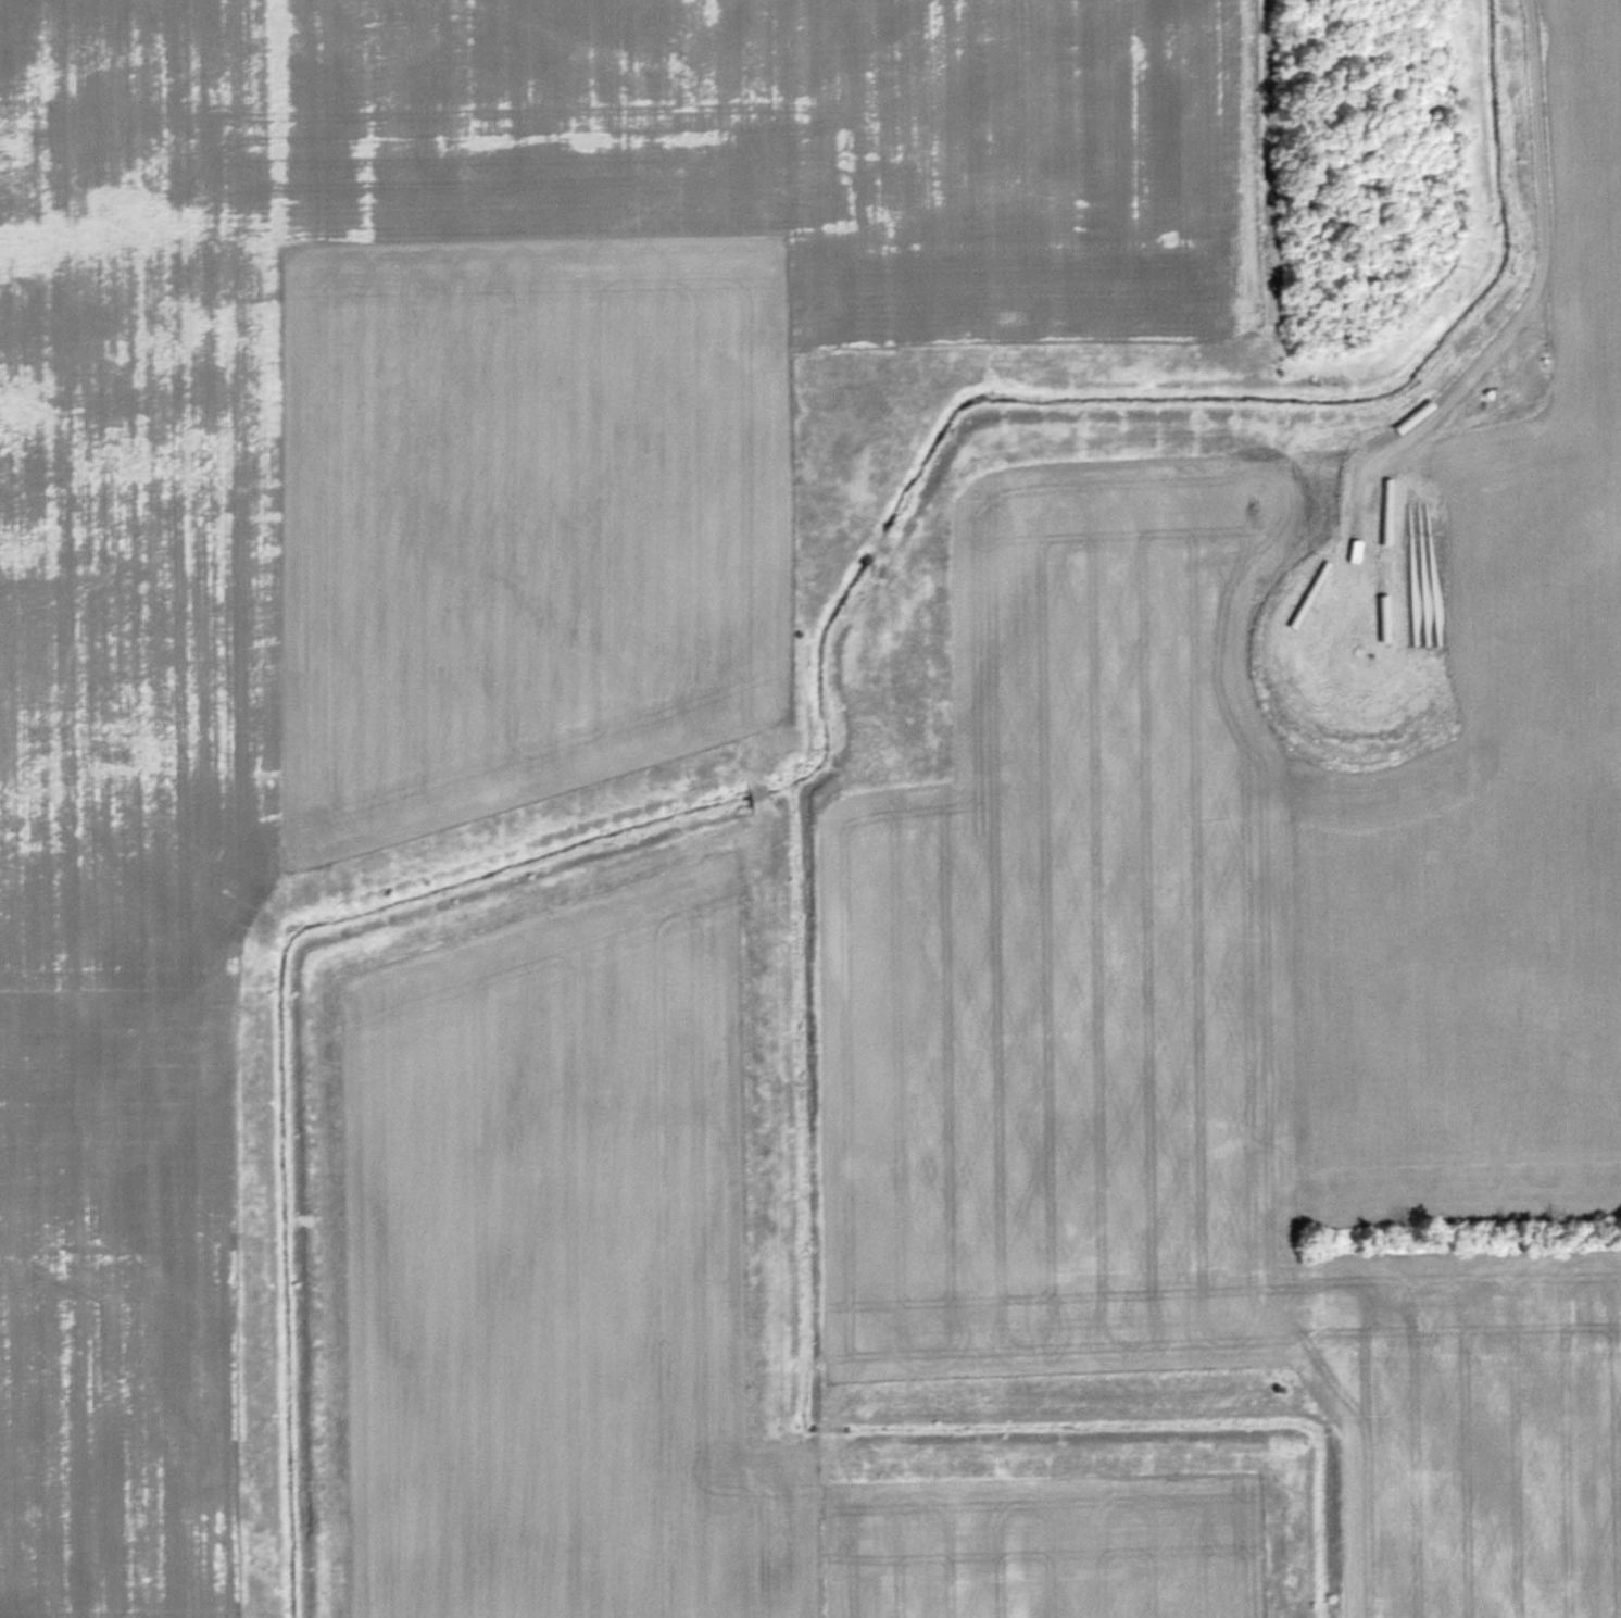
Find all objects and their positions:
wind turbine: (1354, 627)

